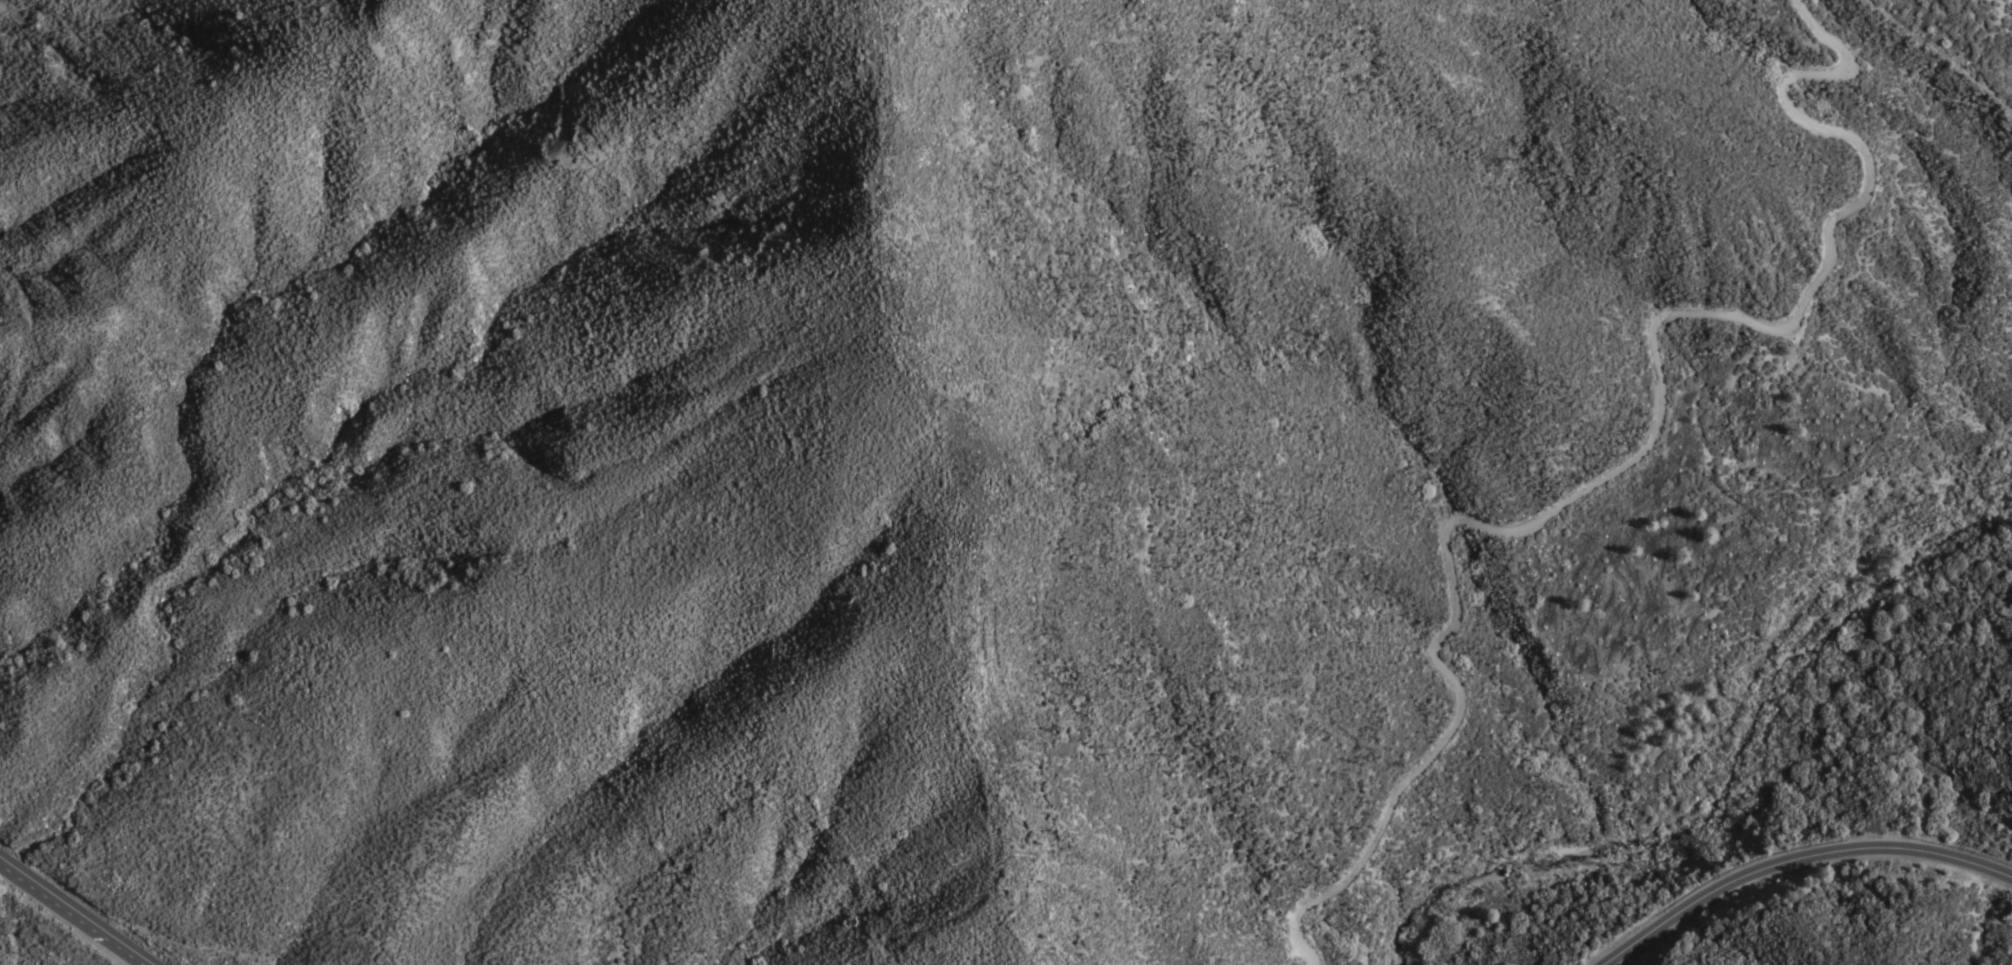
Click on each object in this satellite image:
road: (1877, 429)
road: (1630, 458)
road: (1604, 675)
road: (1796, 860)
road: (76, 913)

